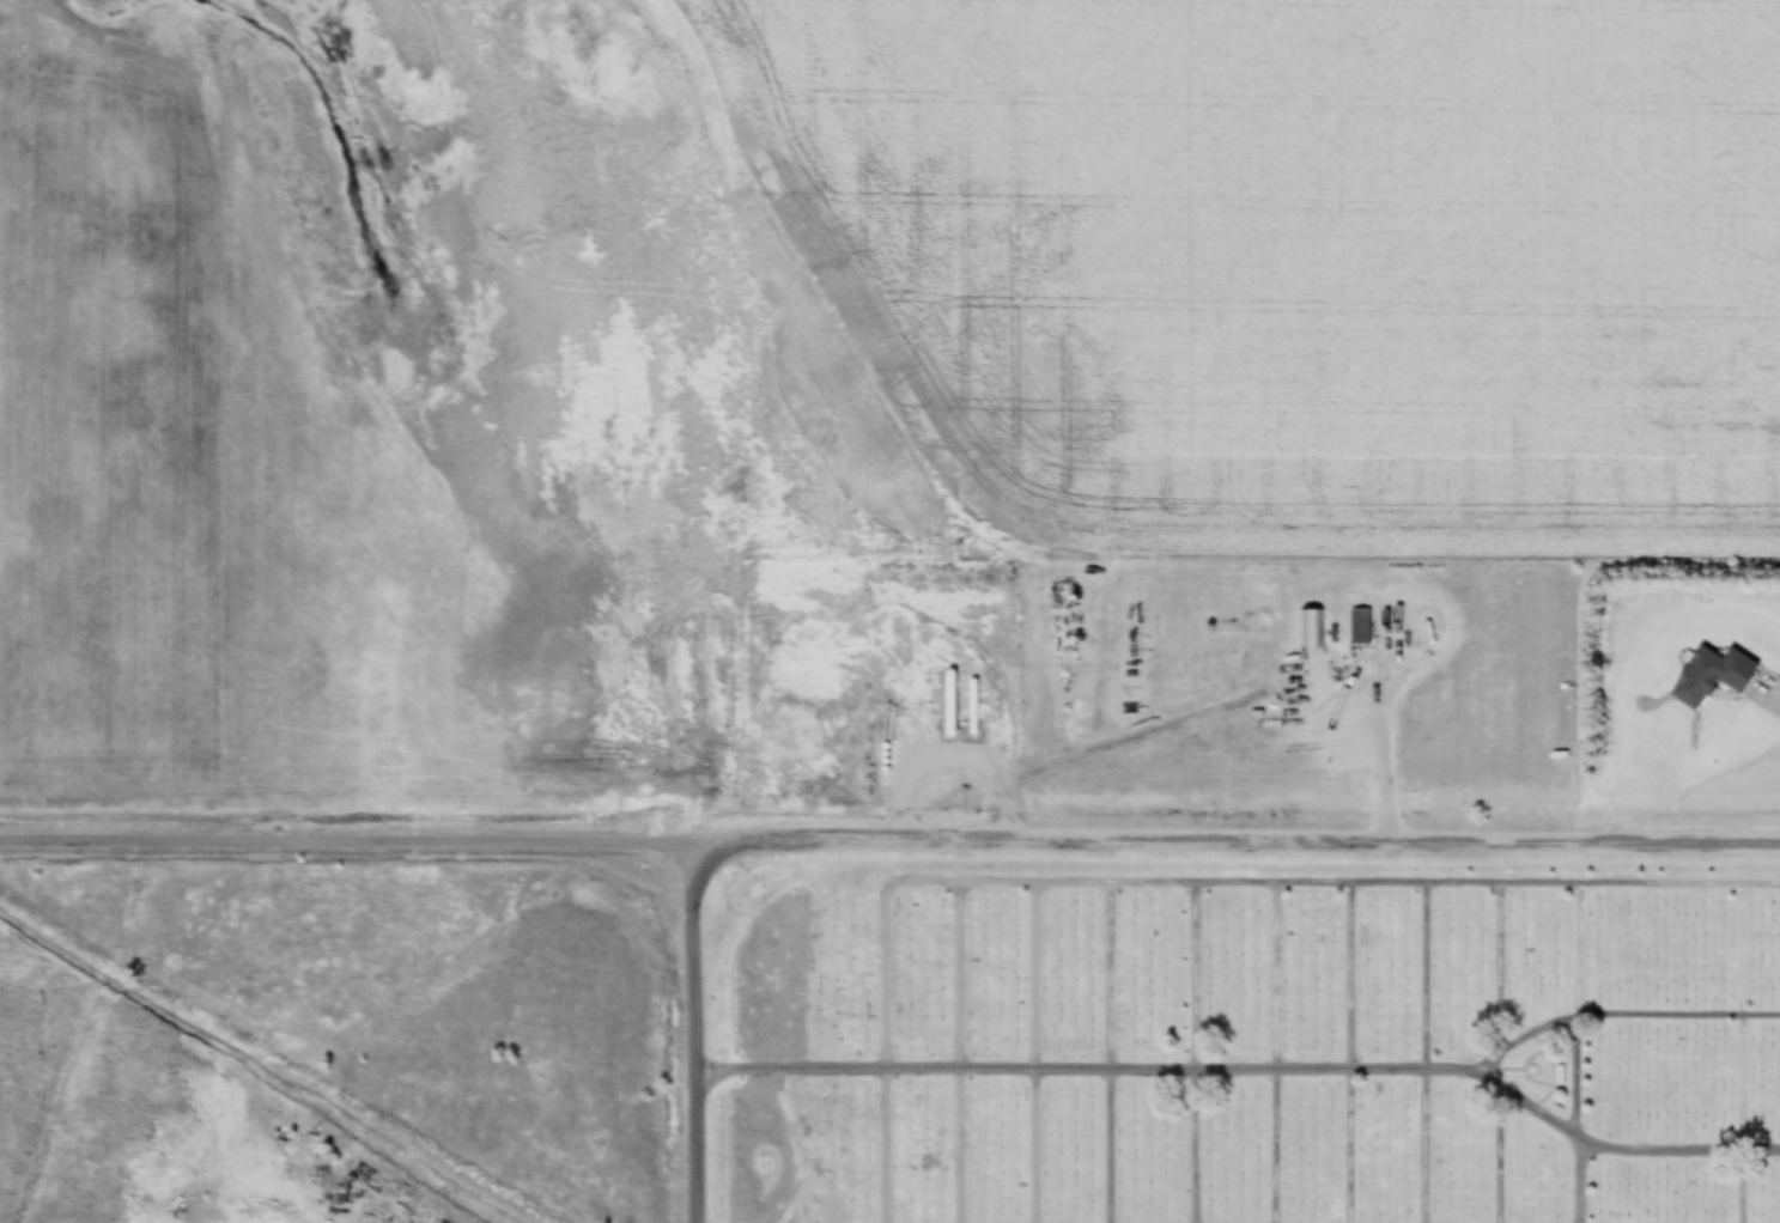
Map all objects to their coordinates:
road: (1773, 696)
road: (889, 839)
road: (1202, 884)
road: (1626, 1016)
road: (693, 1030)
road: (882, 1052)
road: (955, 1053)
road: (1031, 1053)
road: (1104, 1053)
road: (1190, 1053)
road: (1268, 1053)
road: (1343, 1053)
road: (1420, 1054)
road: (1488, 1054)
road: (1586, 1054)
road: (1750, 1054)
road: (1249, 1076)
building: (1559, 1077)

